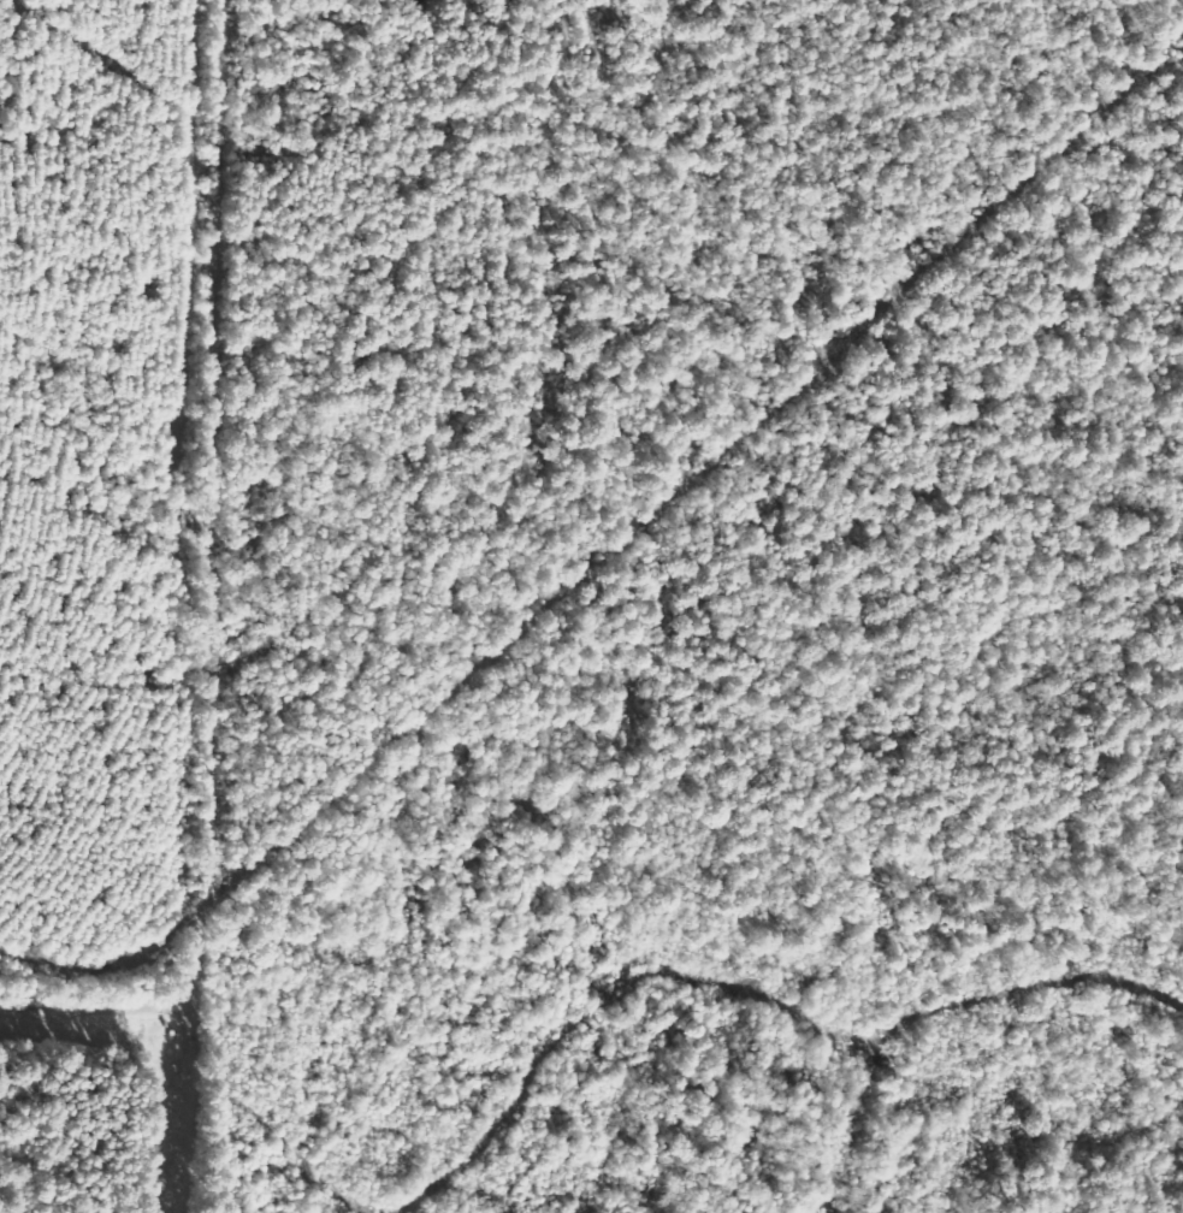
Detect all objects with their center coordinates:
road: (803, 330)

